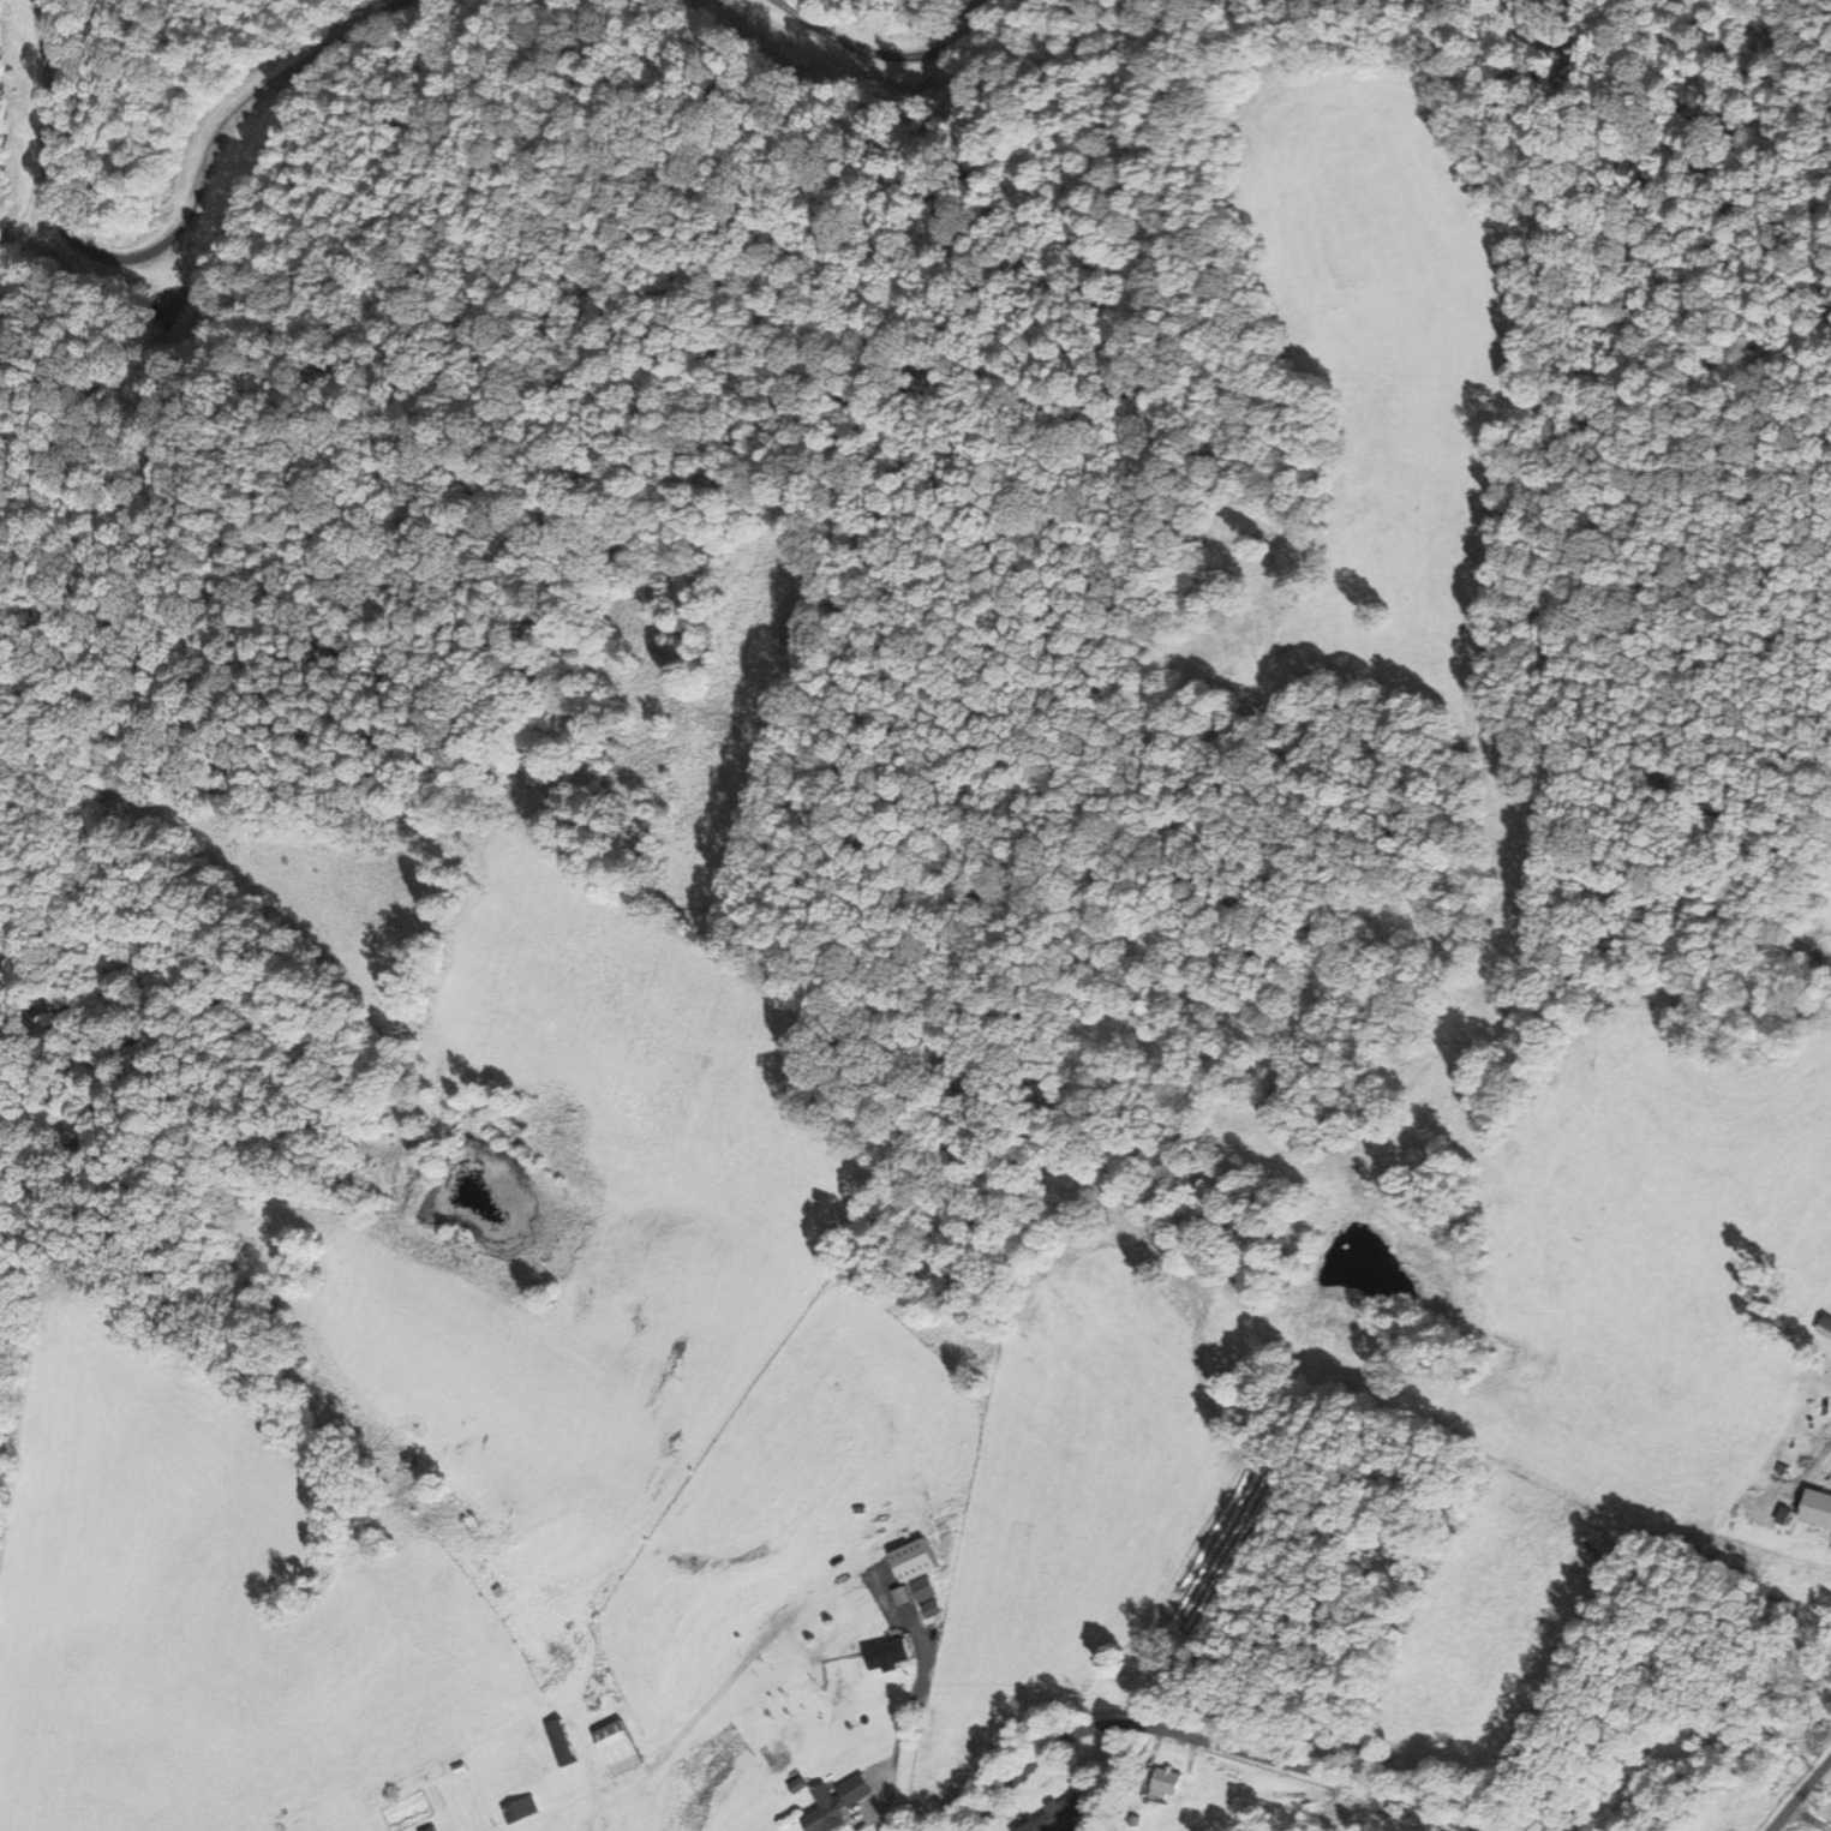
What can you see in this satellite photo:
road: (886, 58)
road: (162, 240)
building: (1818, 1509)
building: (891, 1653)
building: (596, 1707)
road: (1207, 1745)
building: (621, 1747)
building: (564, 1748)
building: (1169, 1782)
building: (856, 1789)
road: (1803, 1797)
building: (522, 1809)
building: (826, 1809)
building: (1060, 1814)
road: (1813, 1818)

